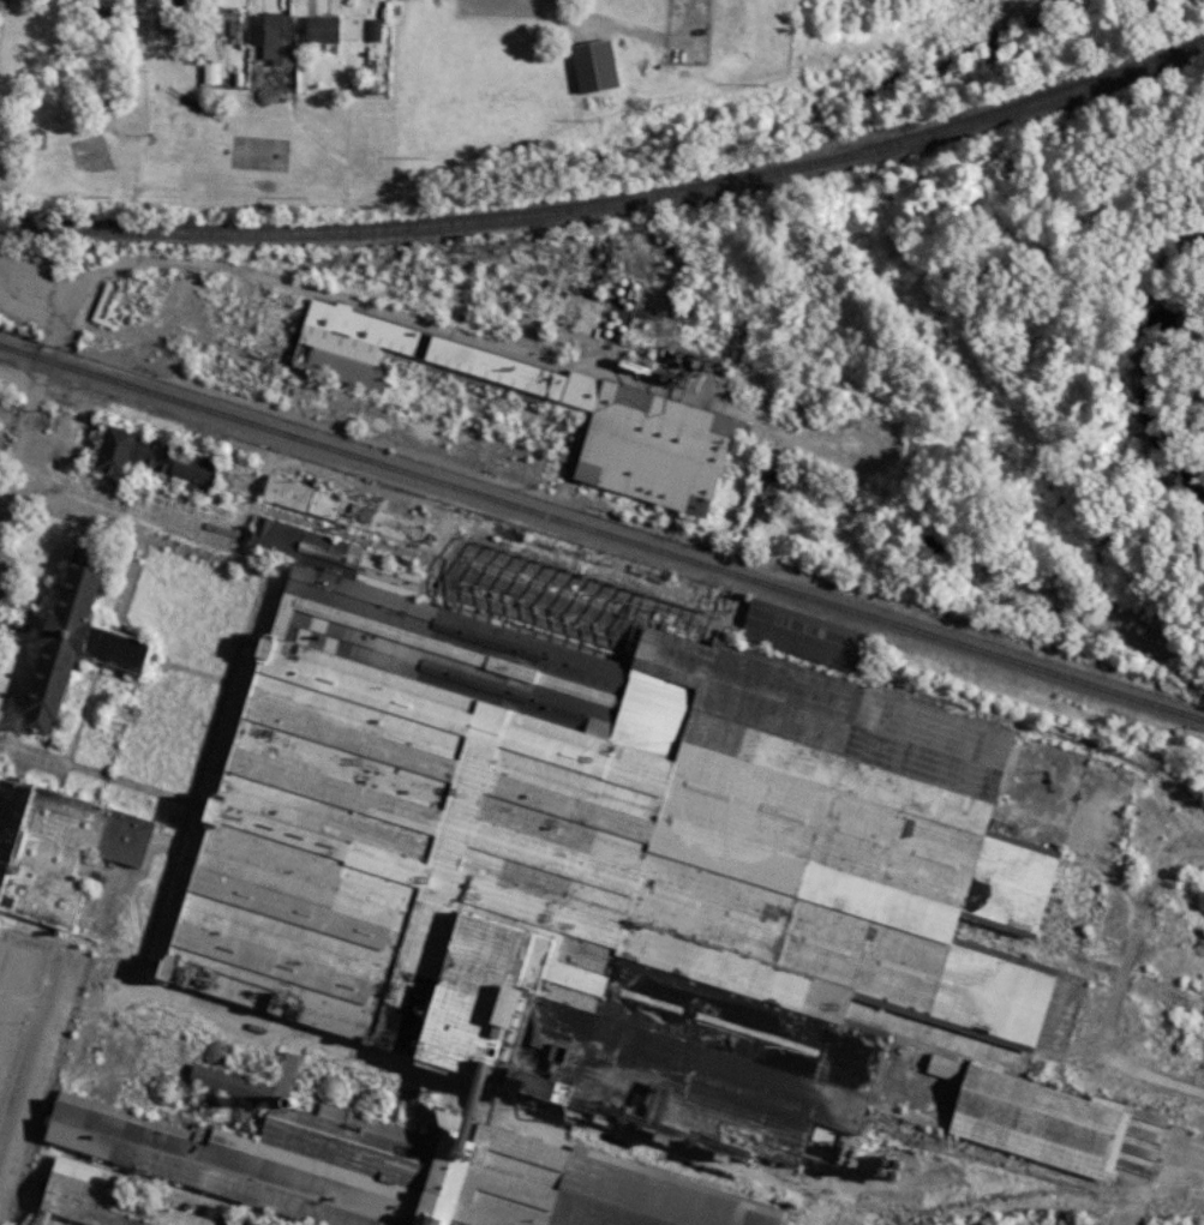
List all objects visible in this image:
building: (102, 11)
building: (222, 22)
building: (319, 29)
building: (272, 36)
road: (137, 54)
building: (592, 65)
parking lot: (131, 118)
park: (197, 137)
park: (263, 156)
railway: (612, 204)
road: (208, 262)
building: (102, 314)
building: (349, 331)
building: (345, 370)
building: (612, 428)
building: (149, 457)
building: (300, 498)
railway: (601, 534)
building: (797, 632)
building: (68, 641)
railway: (971, 710)
building: (58, 848)
building: (940, 1064)
building: (287, 1071)
building: (1034, 1119)
building: (95, 1200)
building: (637, 1201)
building: (228, 1224)

